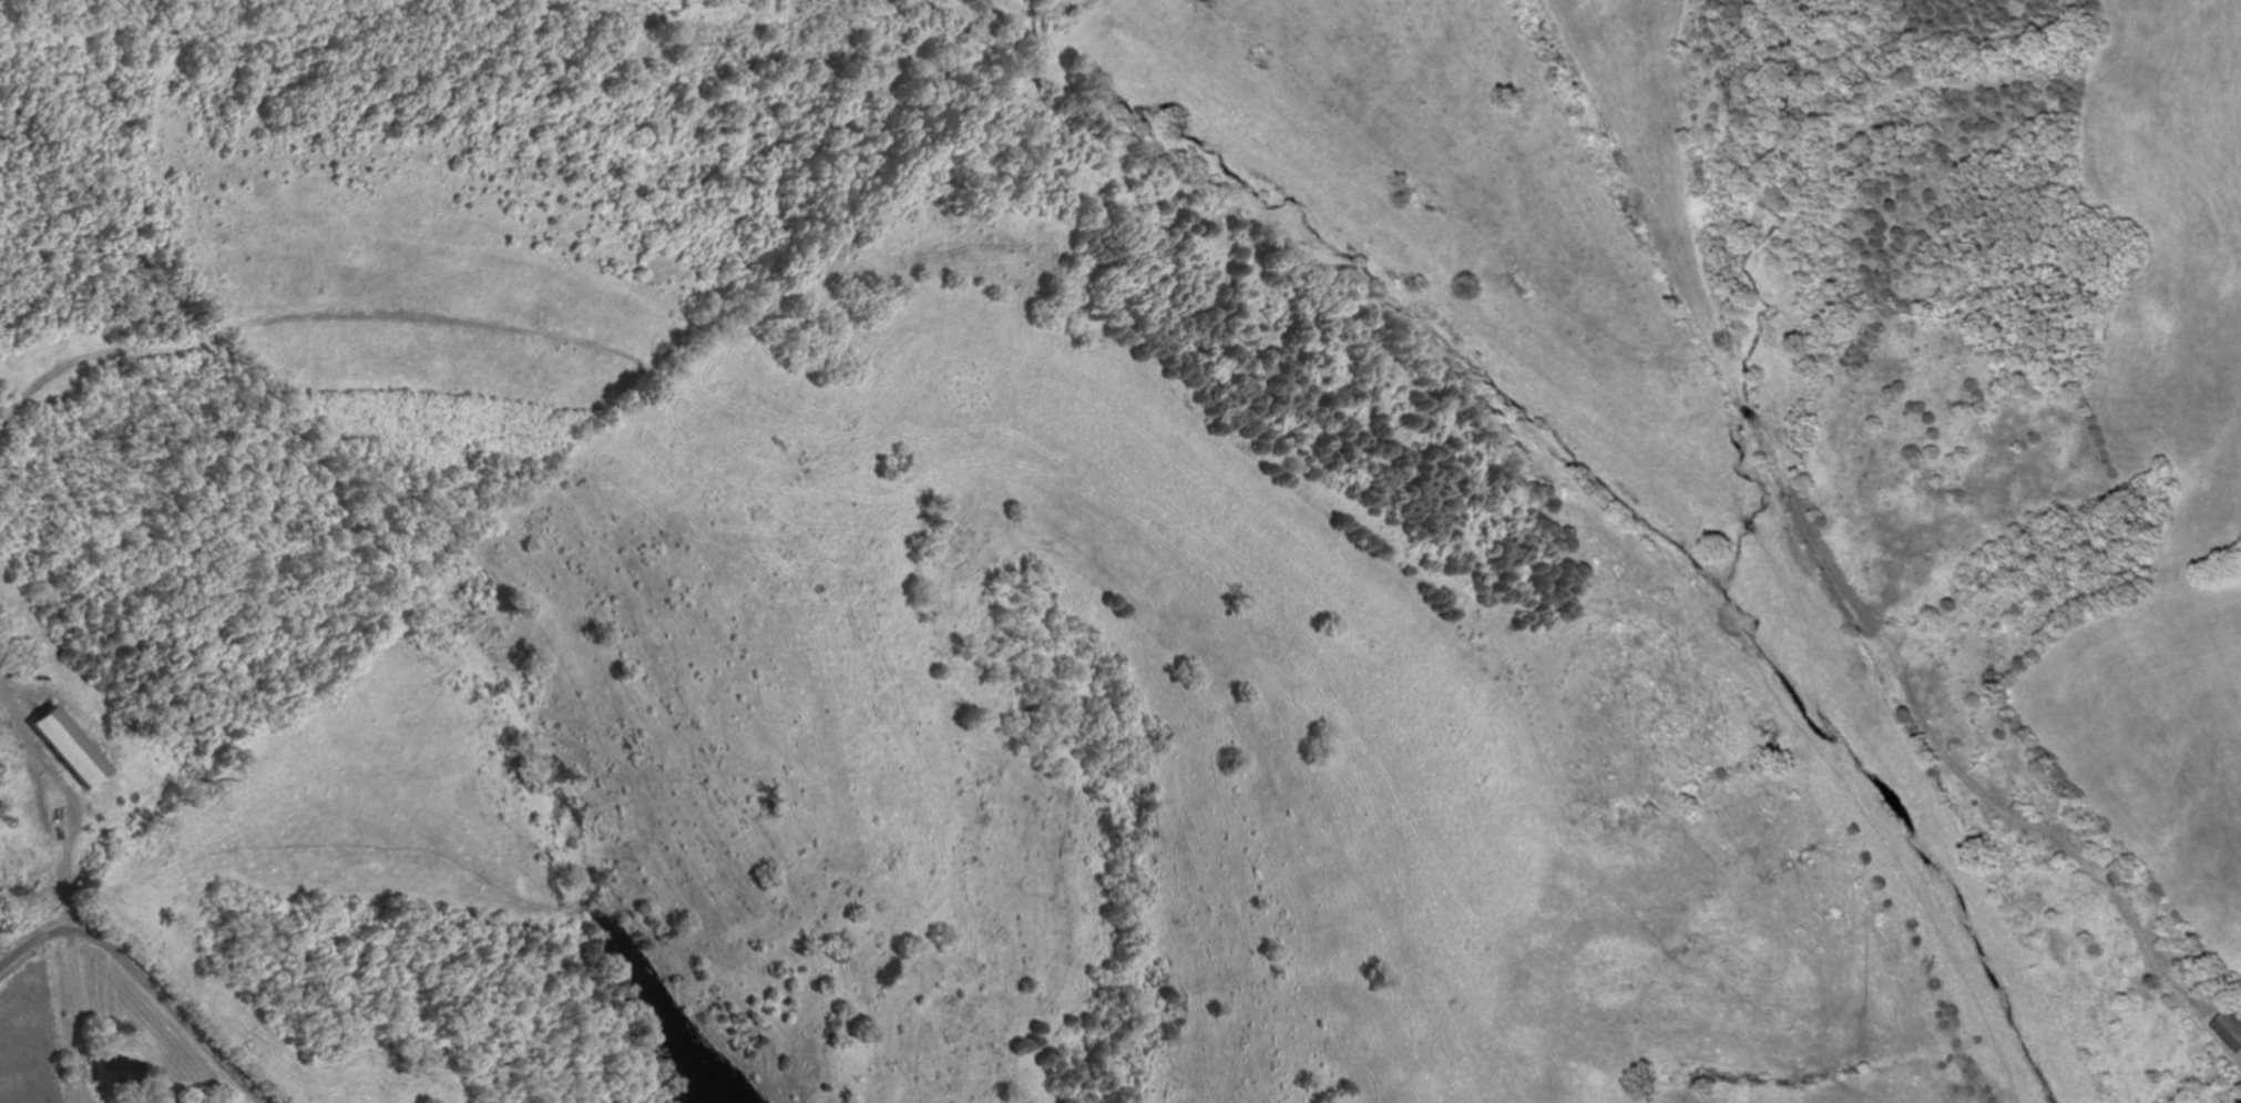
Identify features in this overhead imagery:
road: (1006, 93)
road: (1797, 564)
building: (64, 747)
road: (141, 981)
building: (2229, 1029)
building: (113, 1071)
building: (2239, 1099)

